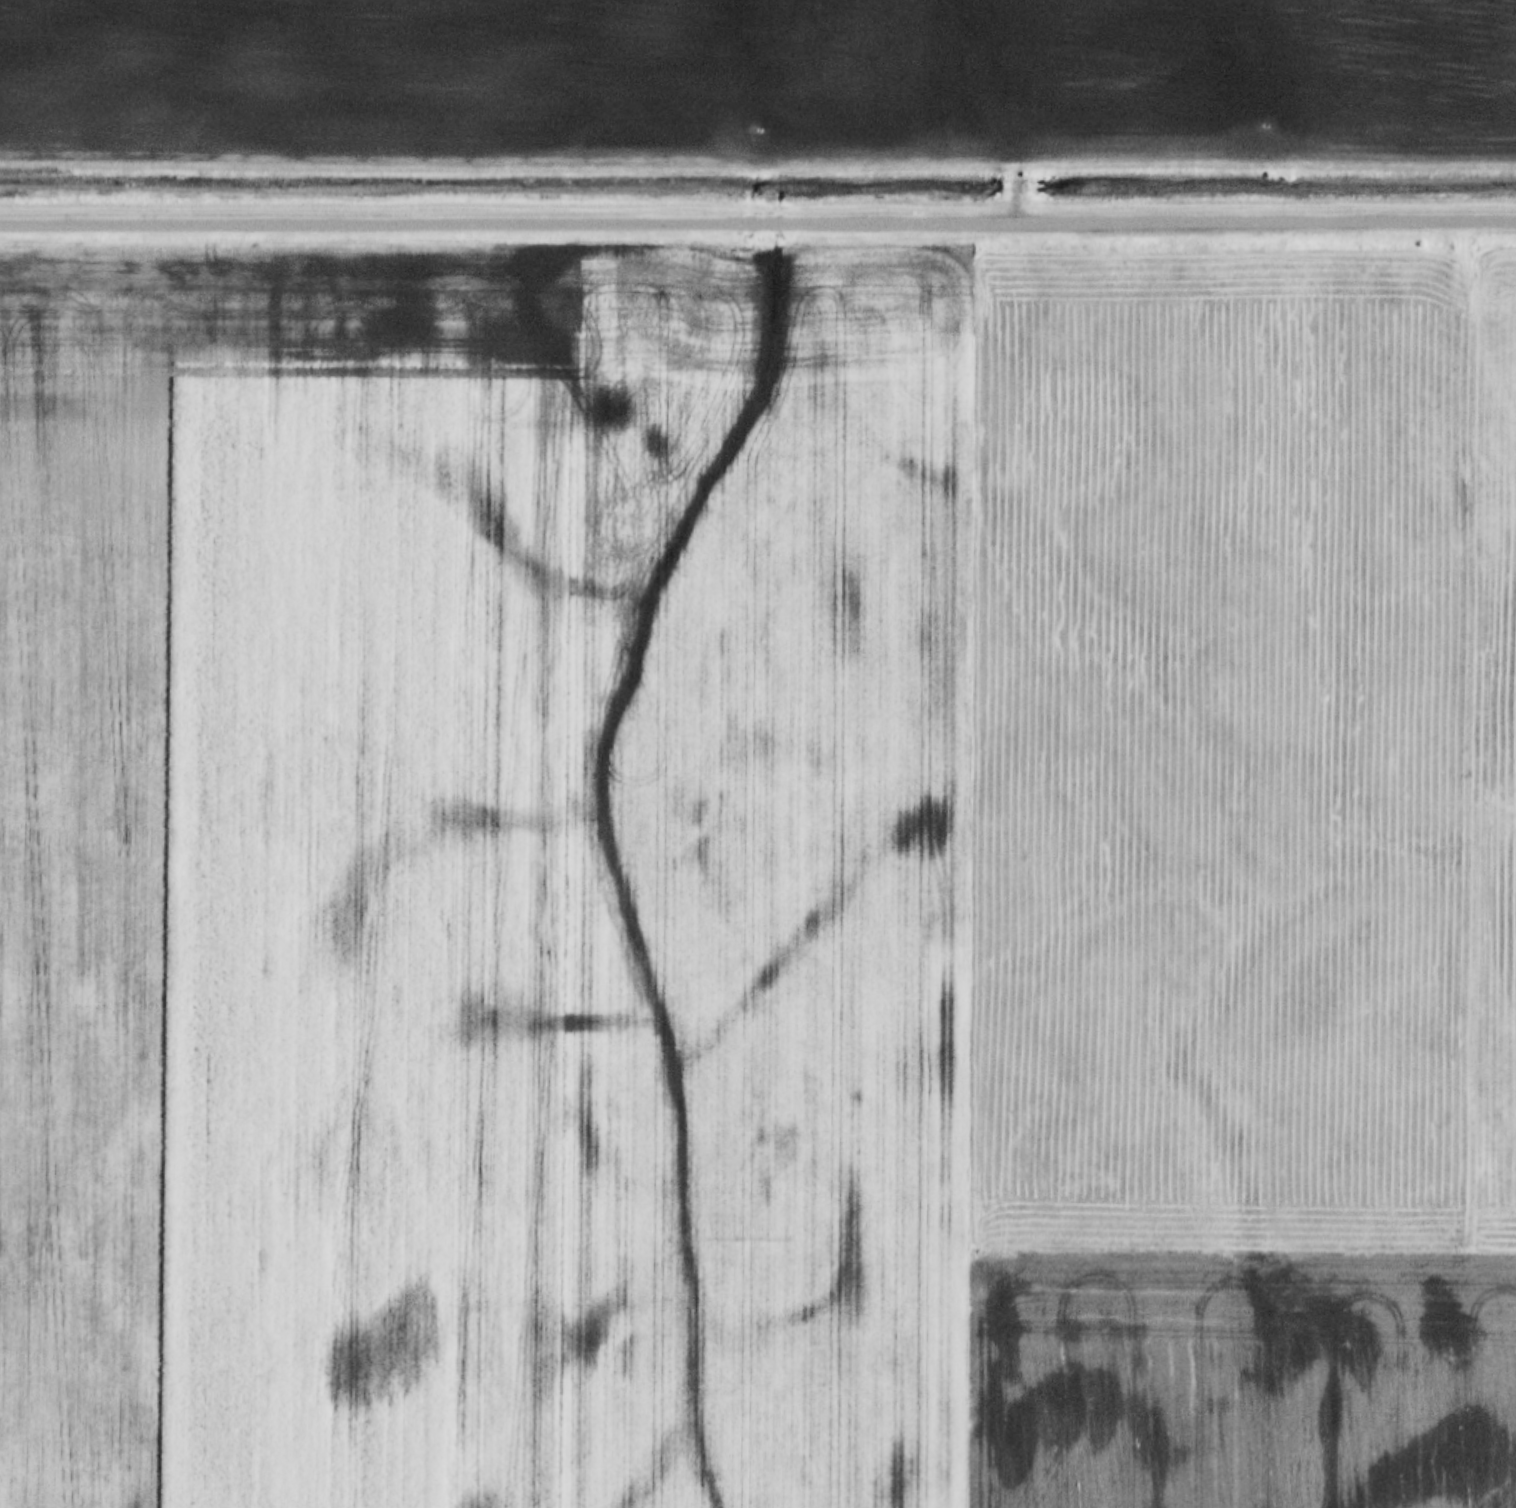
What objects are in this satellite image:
road: (758, 224)

